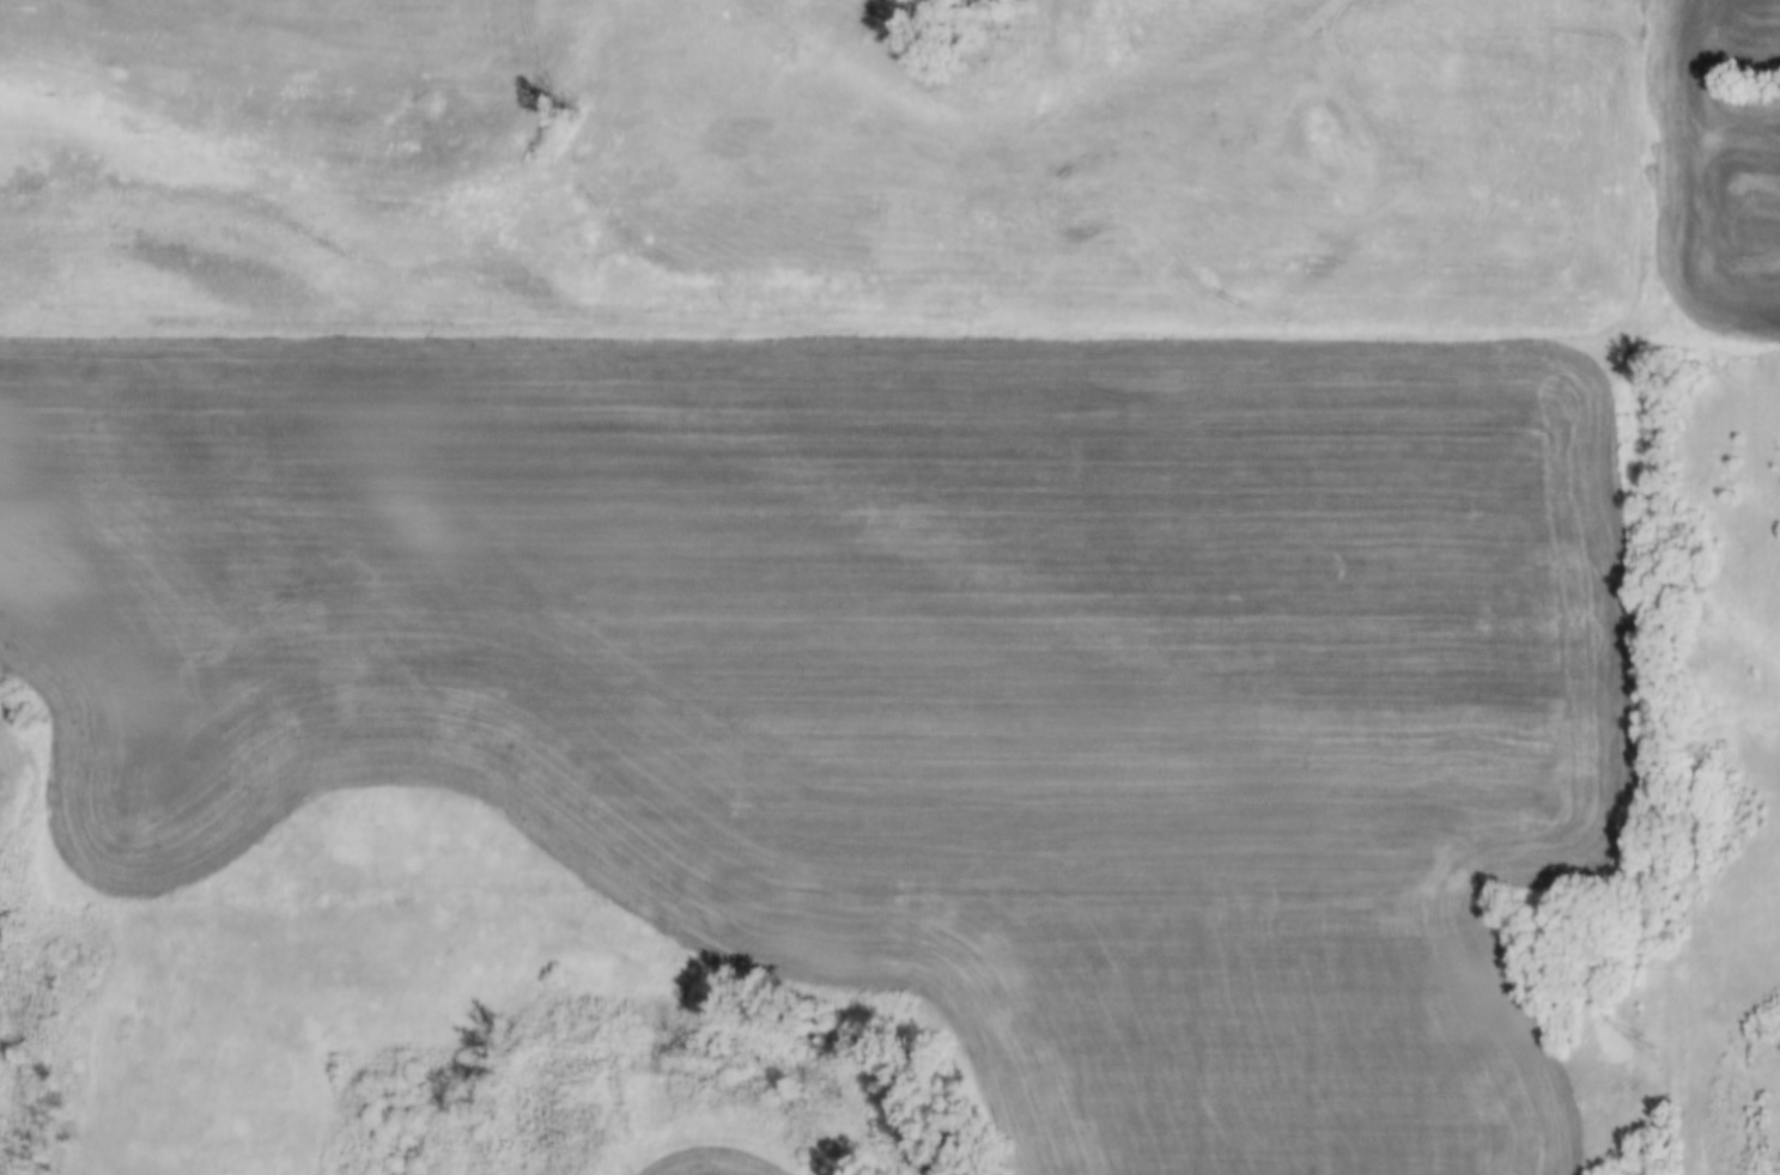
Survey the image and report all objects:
road: (889, 331)
power tower: (1650, 1036)

